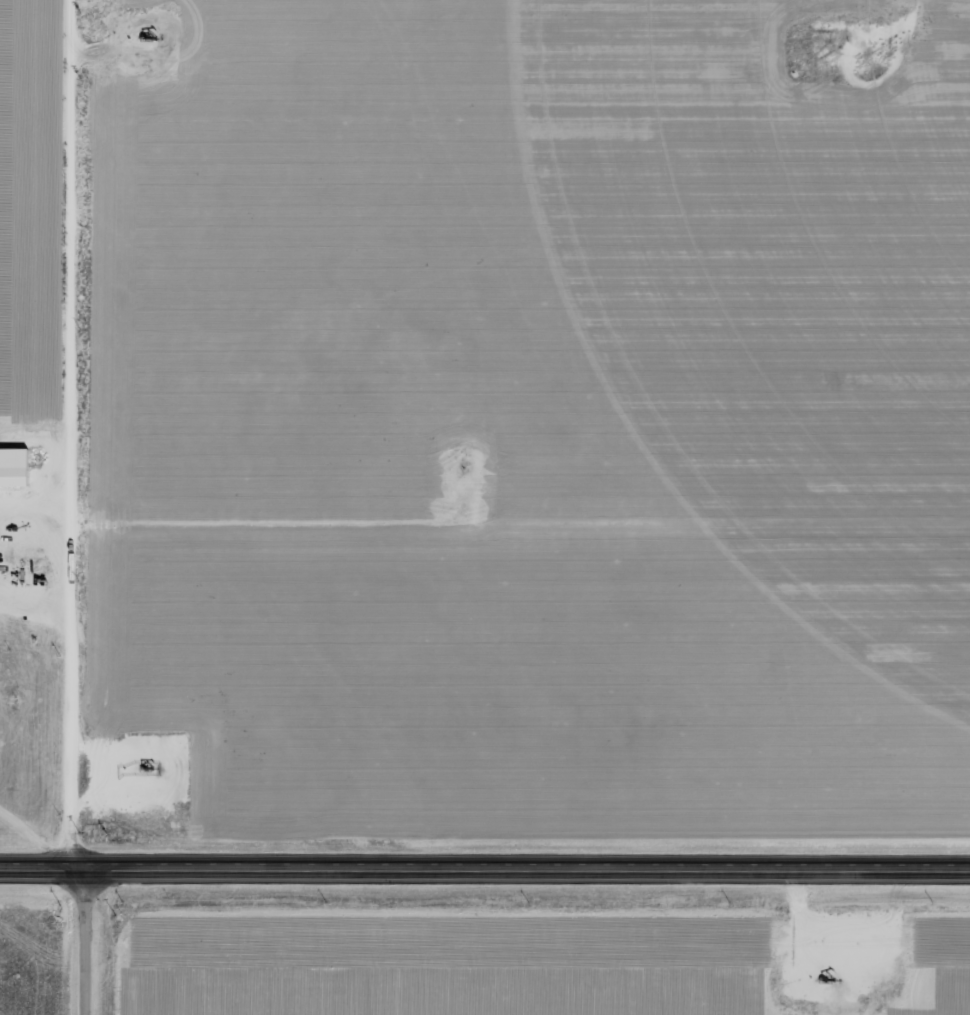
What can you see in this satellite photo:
petroleum well: (140, 39)
road: (82, 434)
road: (275, 563)
petroleum well: (147, 762)
road: (484, 870)
road: (84, 942)
petroleum well: (838, 969)

